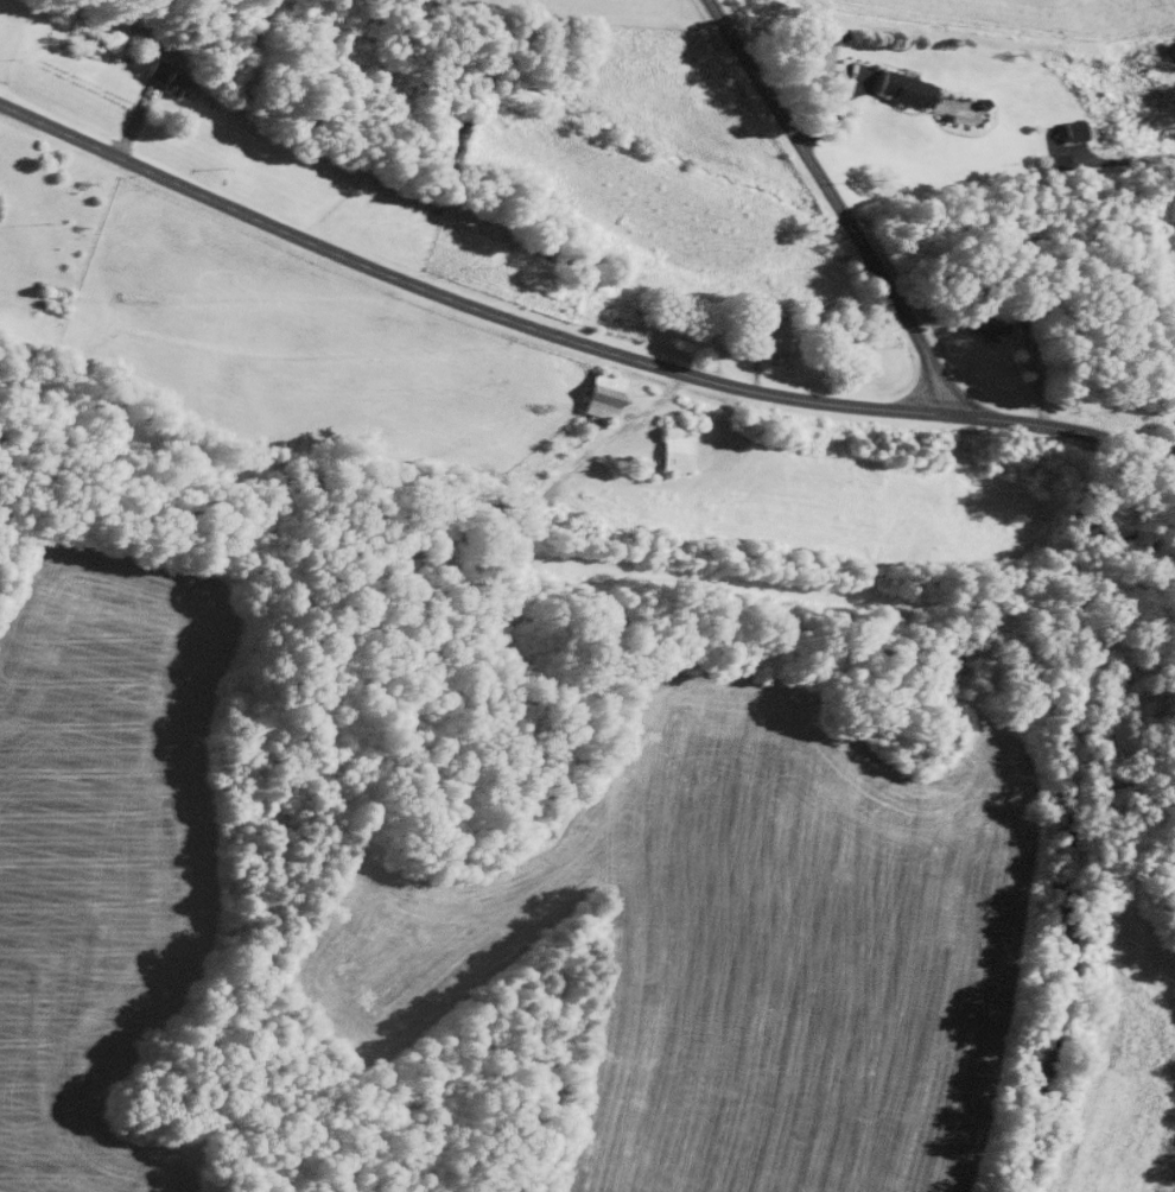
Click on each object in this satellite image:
building: (167, 76)
road: (758, 83)
building: (901, 87)
building: (1072, 129)
building: (1055, 160)
road: (839, 210)
building: (983, 319)
building: (767, 331)
road: (913, 331)
road: (572, 332)
building: (598, 397)
building: (674, 450)

